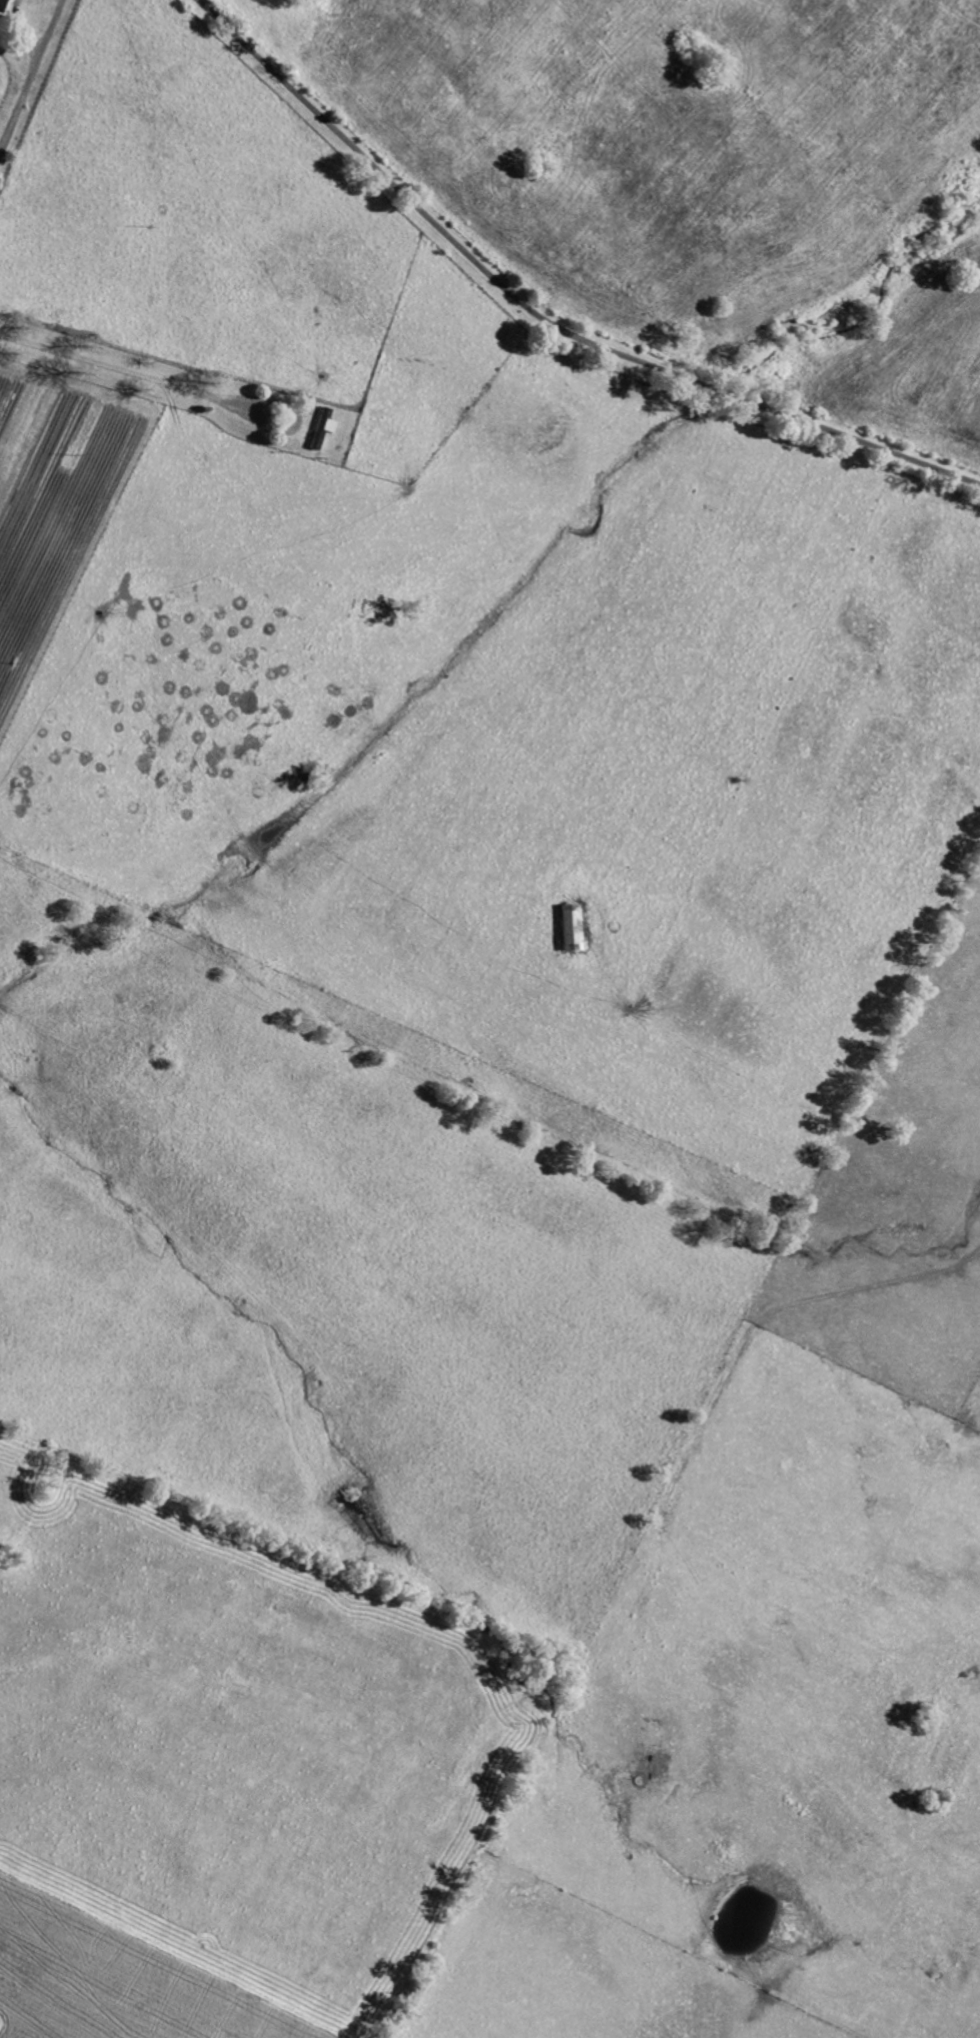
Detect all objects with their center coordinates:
building: (3, 5)
road: (31, 76)
road: (542, 318)
road: (128, 373)
building: (573, 929)

